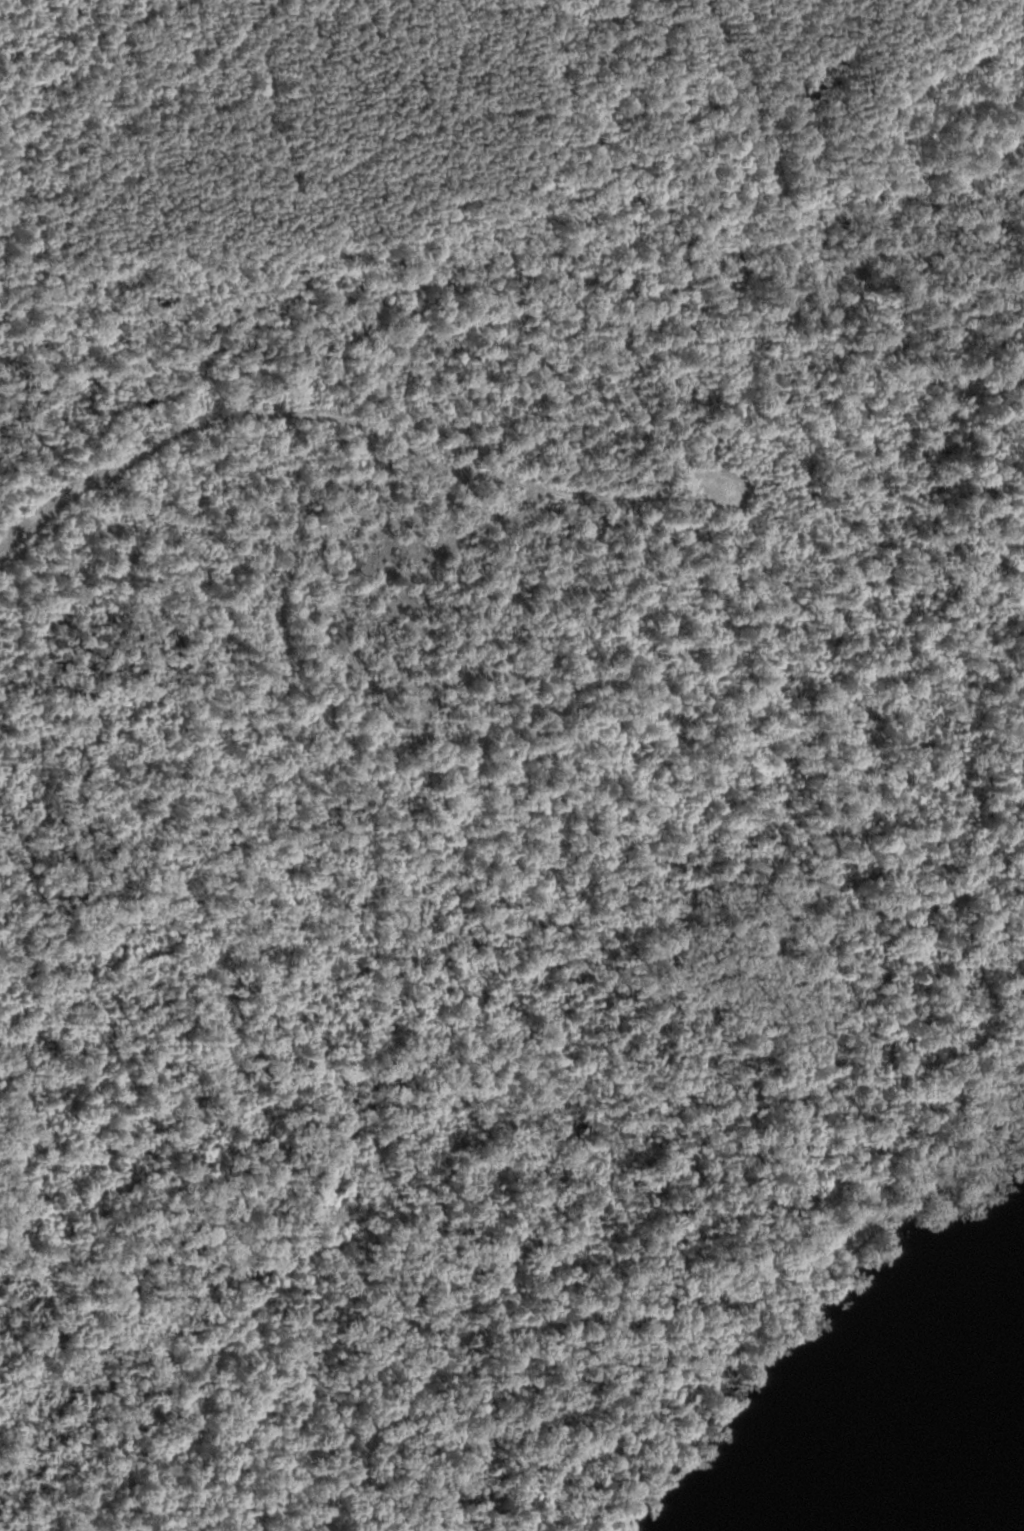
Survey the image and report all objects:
road: (744, 111)
road: (333, 434)
river: (908, 1440)

